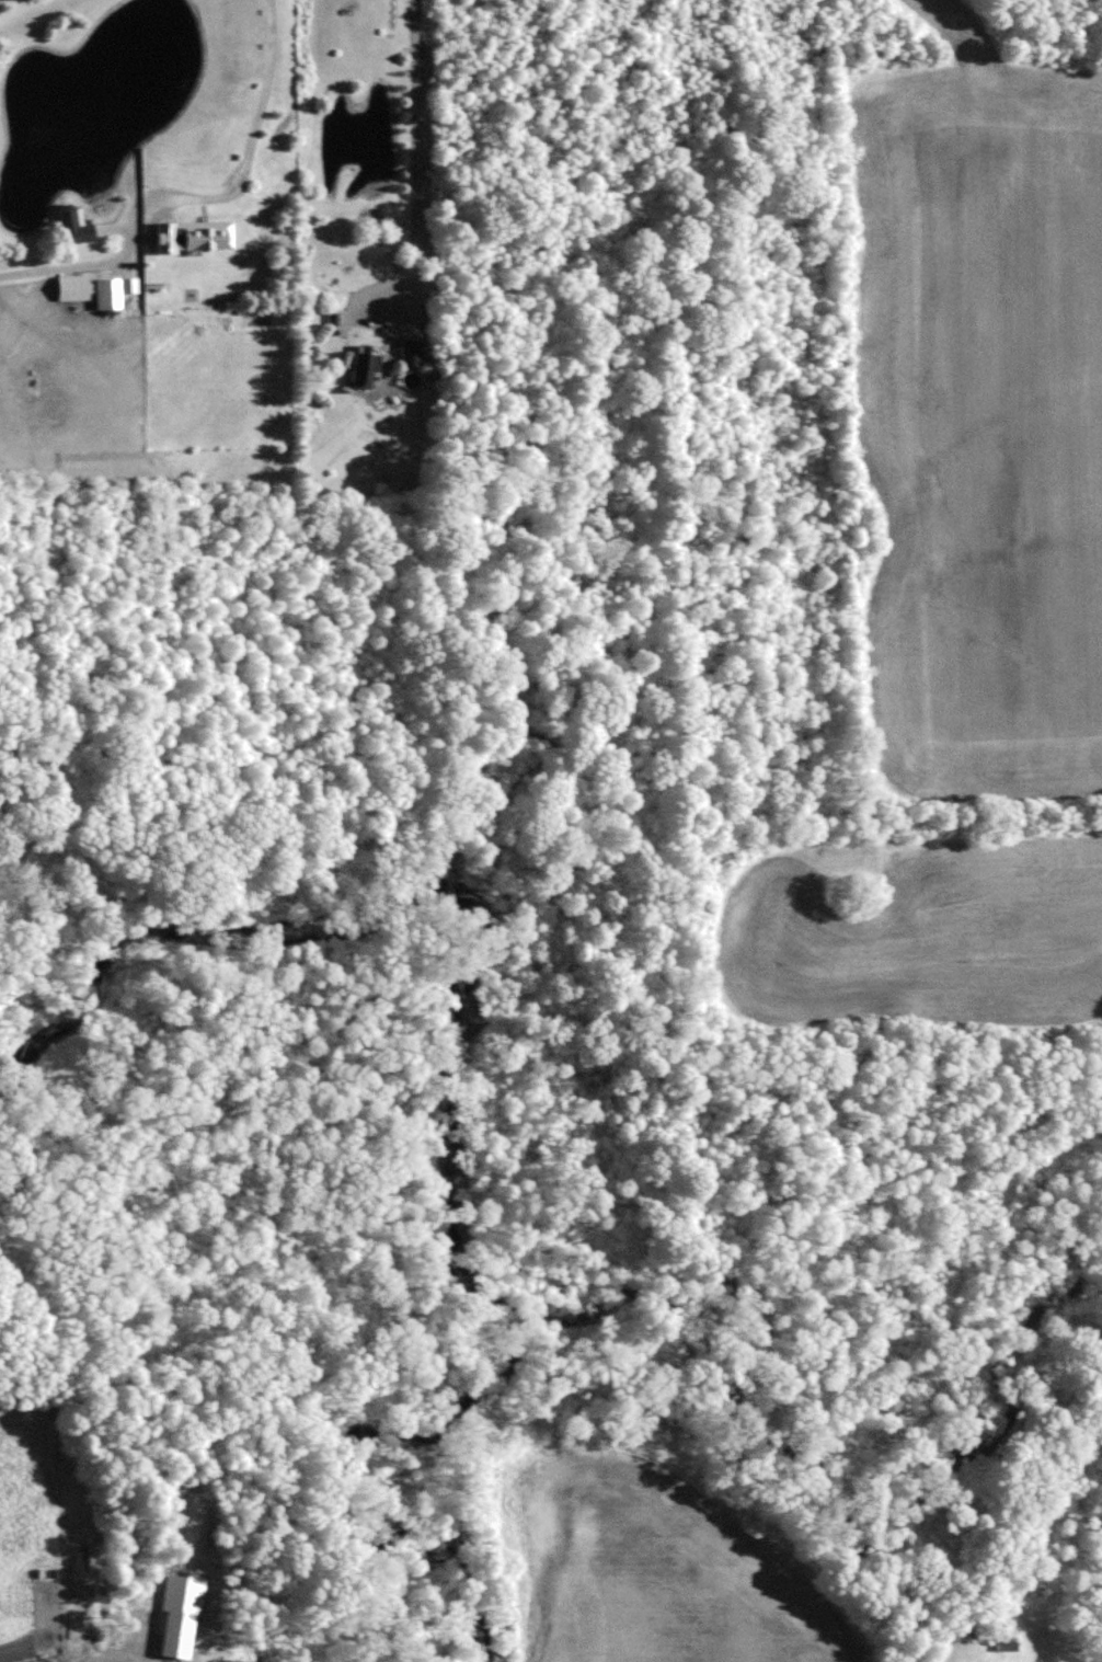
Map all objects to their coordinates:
road: (269, 133)
building: (72, 227)
building: (190, 236)
road: (64, 280)
building: (70, 287)
building: (410, 354)
building: (1038, 1584)
road: (124, 1658)

